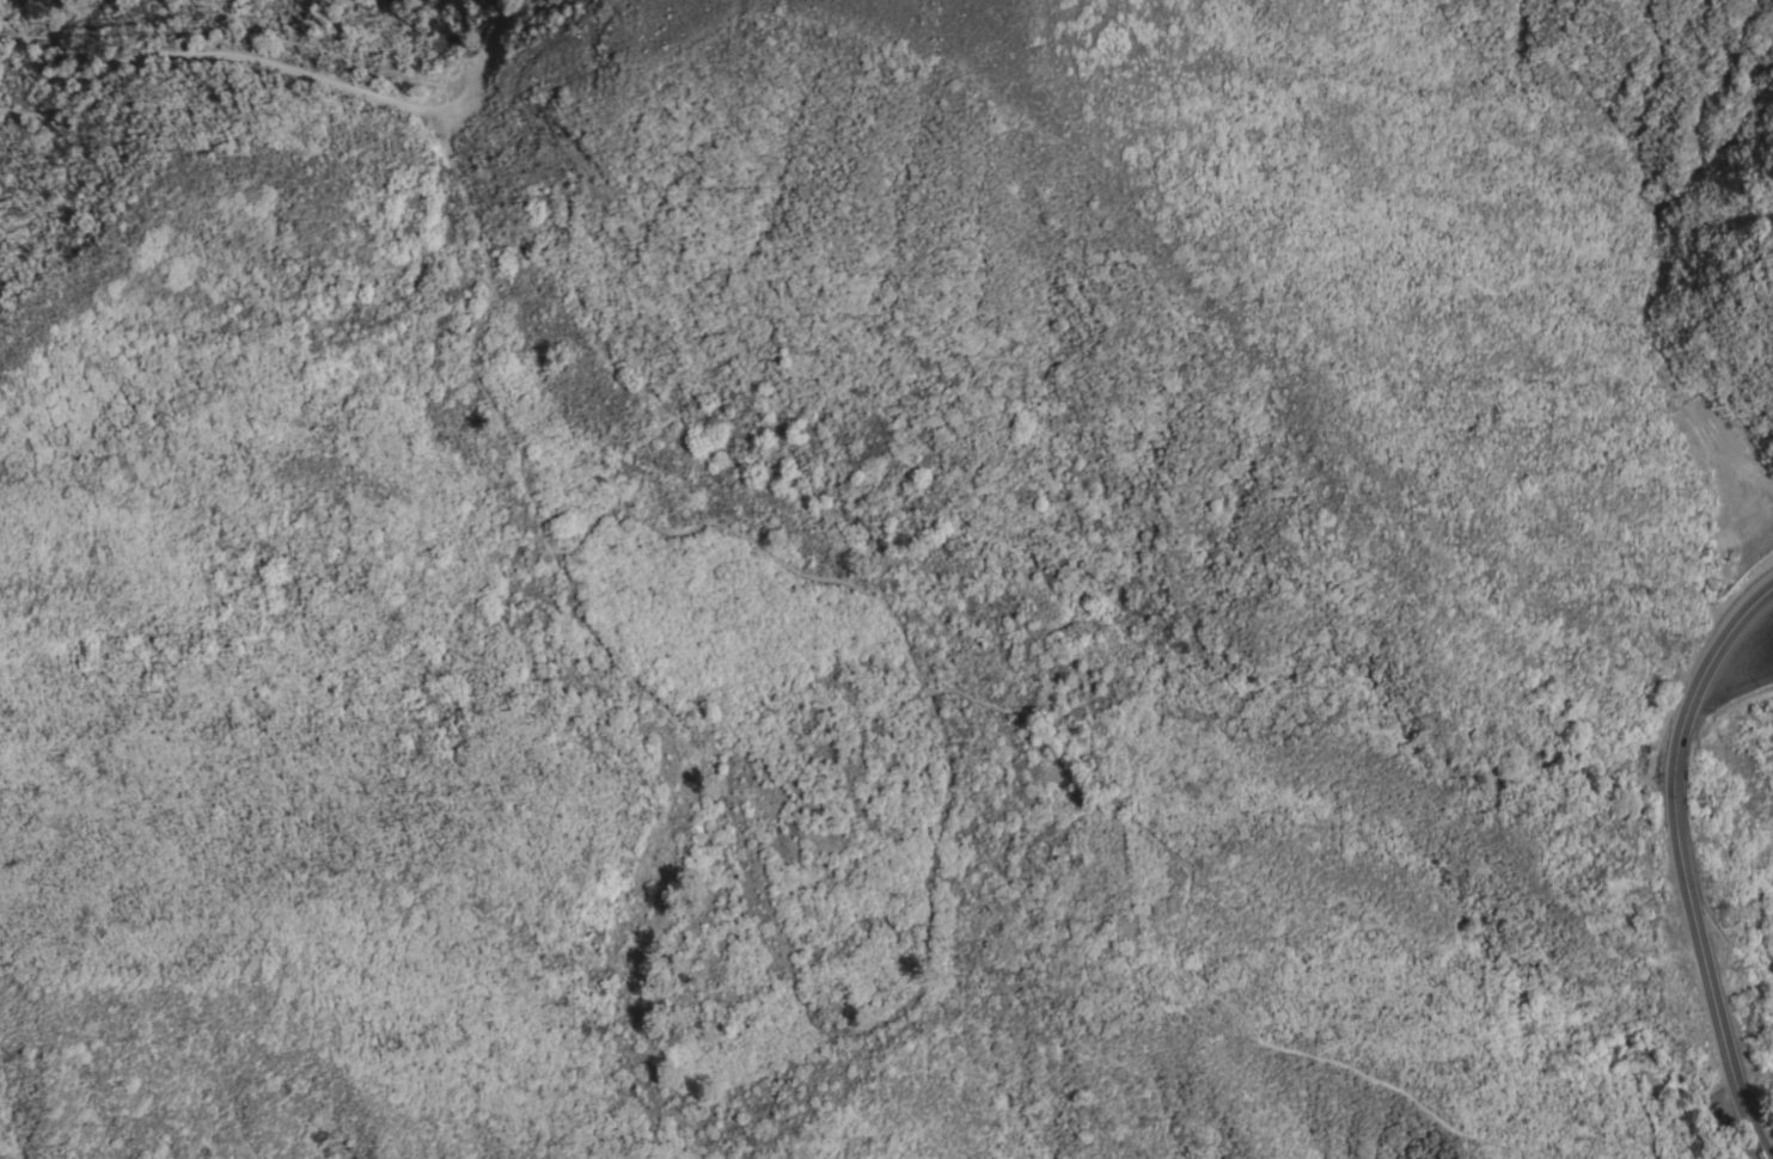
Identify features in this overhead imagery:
road: (501, 22)
road: (49, 35)
road: (213, 45)
road: (374, 63)
road: (470, 333)
road: (1086, 768)
road: (1674, 861)
road: (1652, 1083)
parking lot: (1730, 1117)
road: (1750, 1137)

